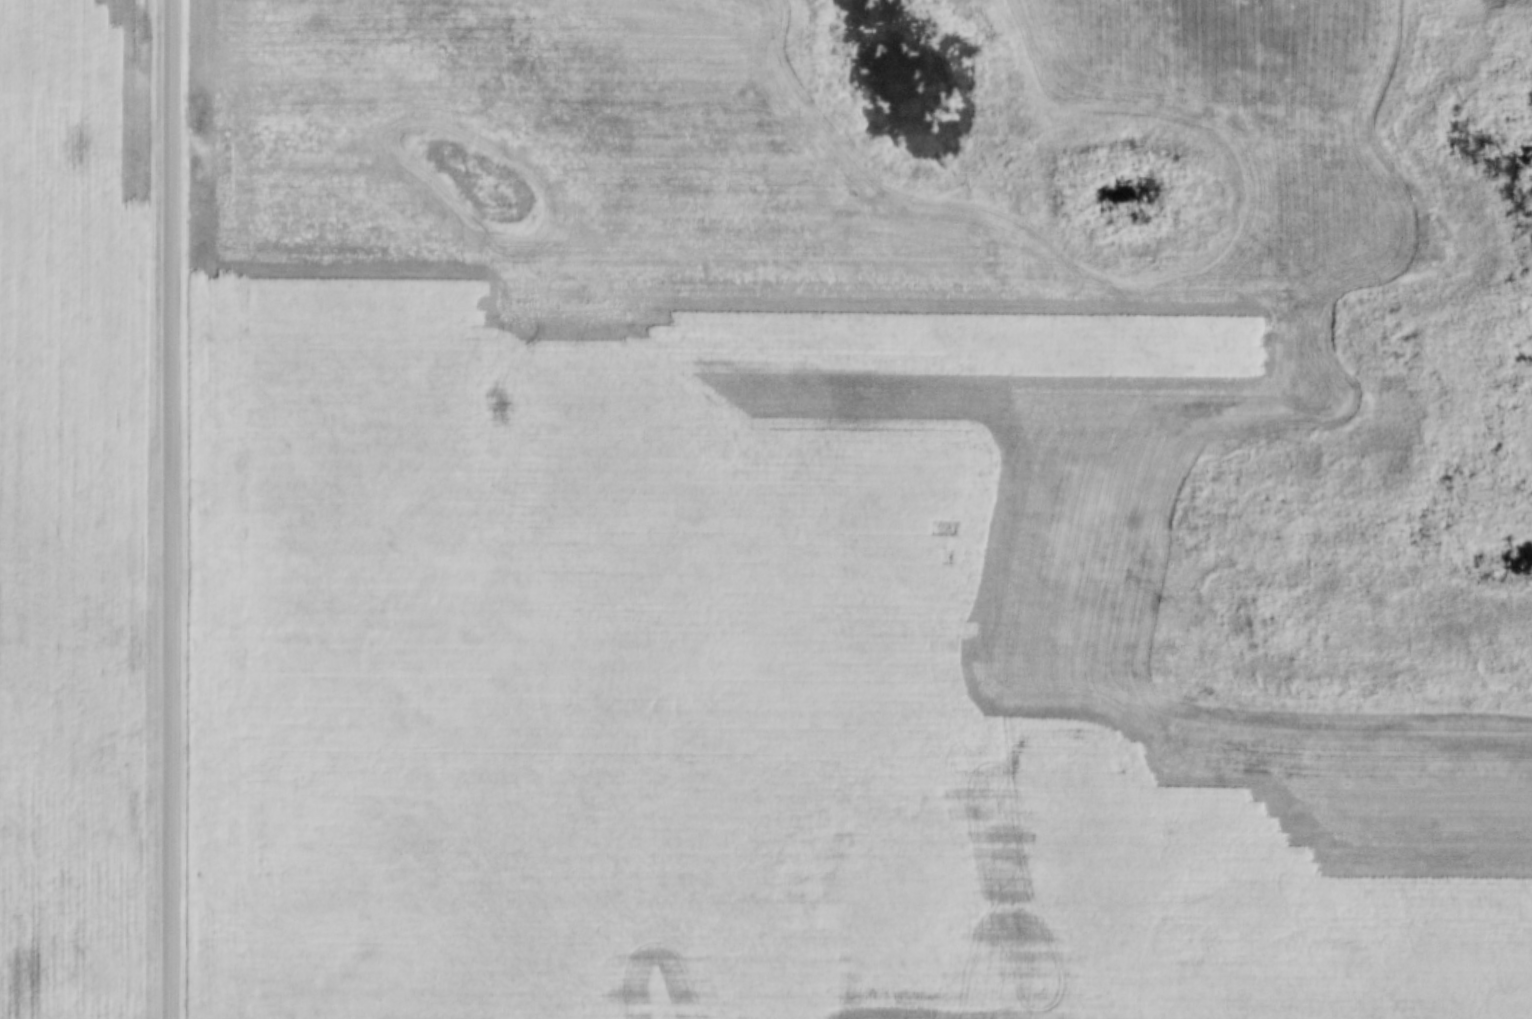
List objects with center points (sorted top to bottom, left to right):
road: (174, 509)

